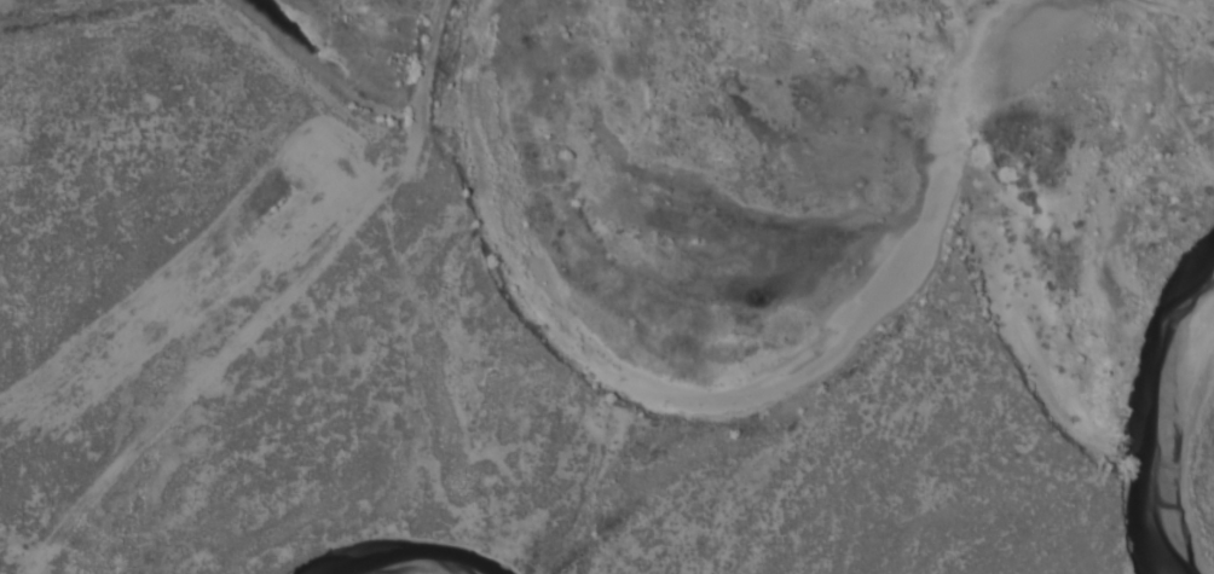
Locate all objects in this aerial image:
river: (1179, 437)

